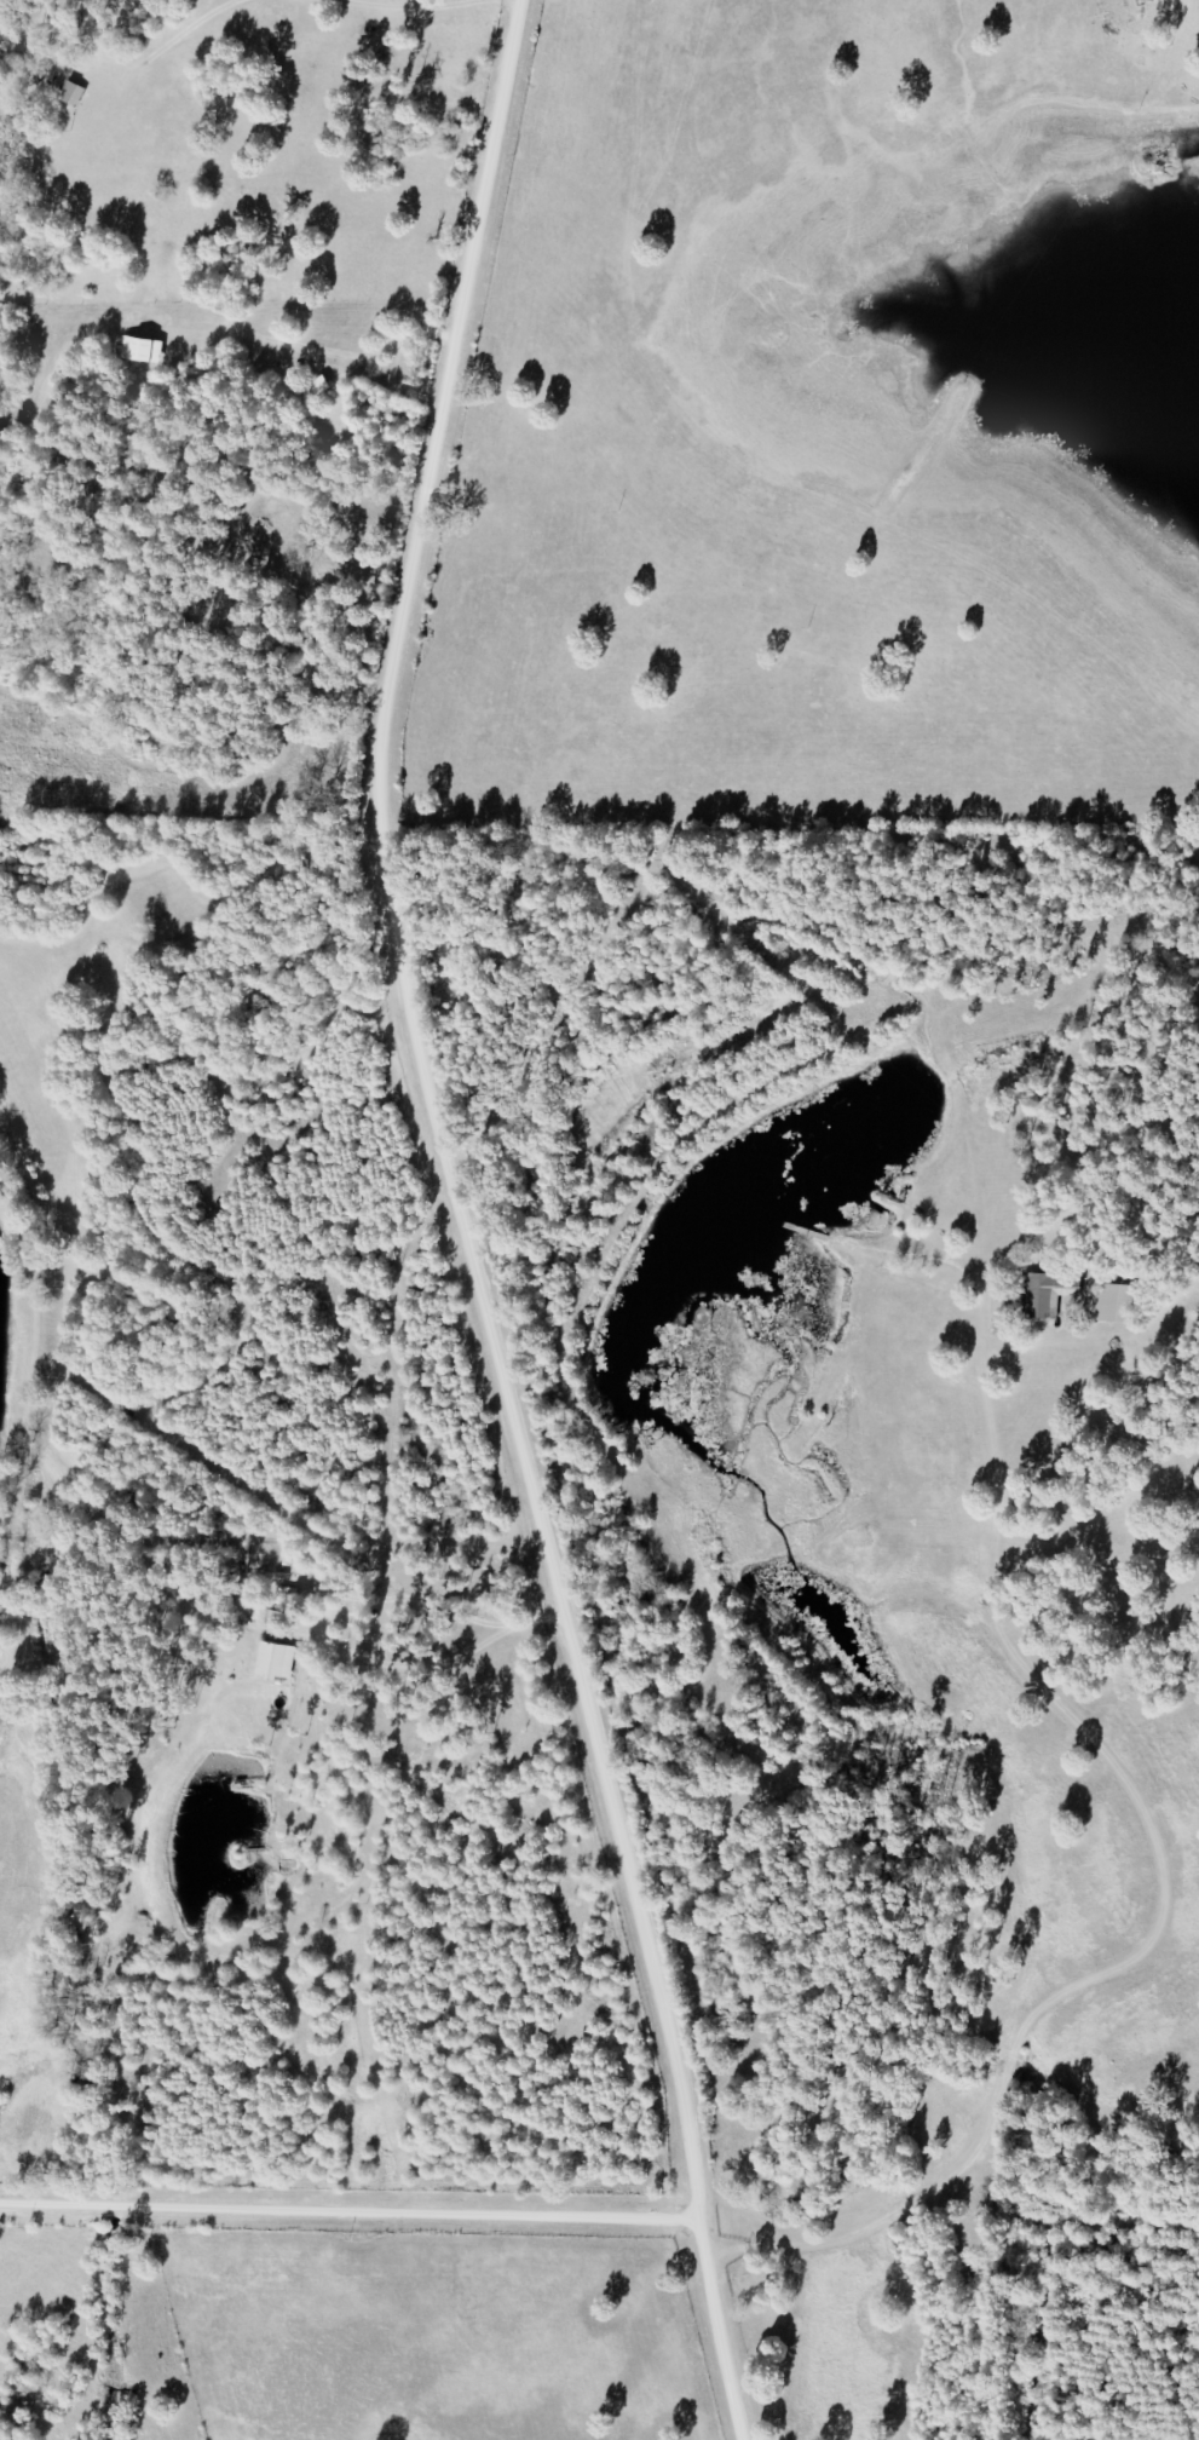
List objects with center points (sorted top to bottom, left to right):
road: (425, 6)
road: (172, 38)
building: (71, 93)
building: (140, 350)
building: (313, 387)
road: (362, 1249)
building: (1045, 1293)
building: (1112, 1302)
building: (276, 1661)
road: (345, 2199)

